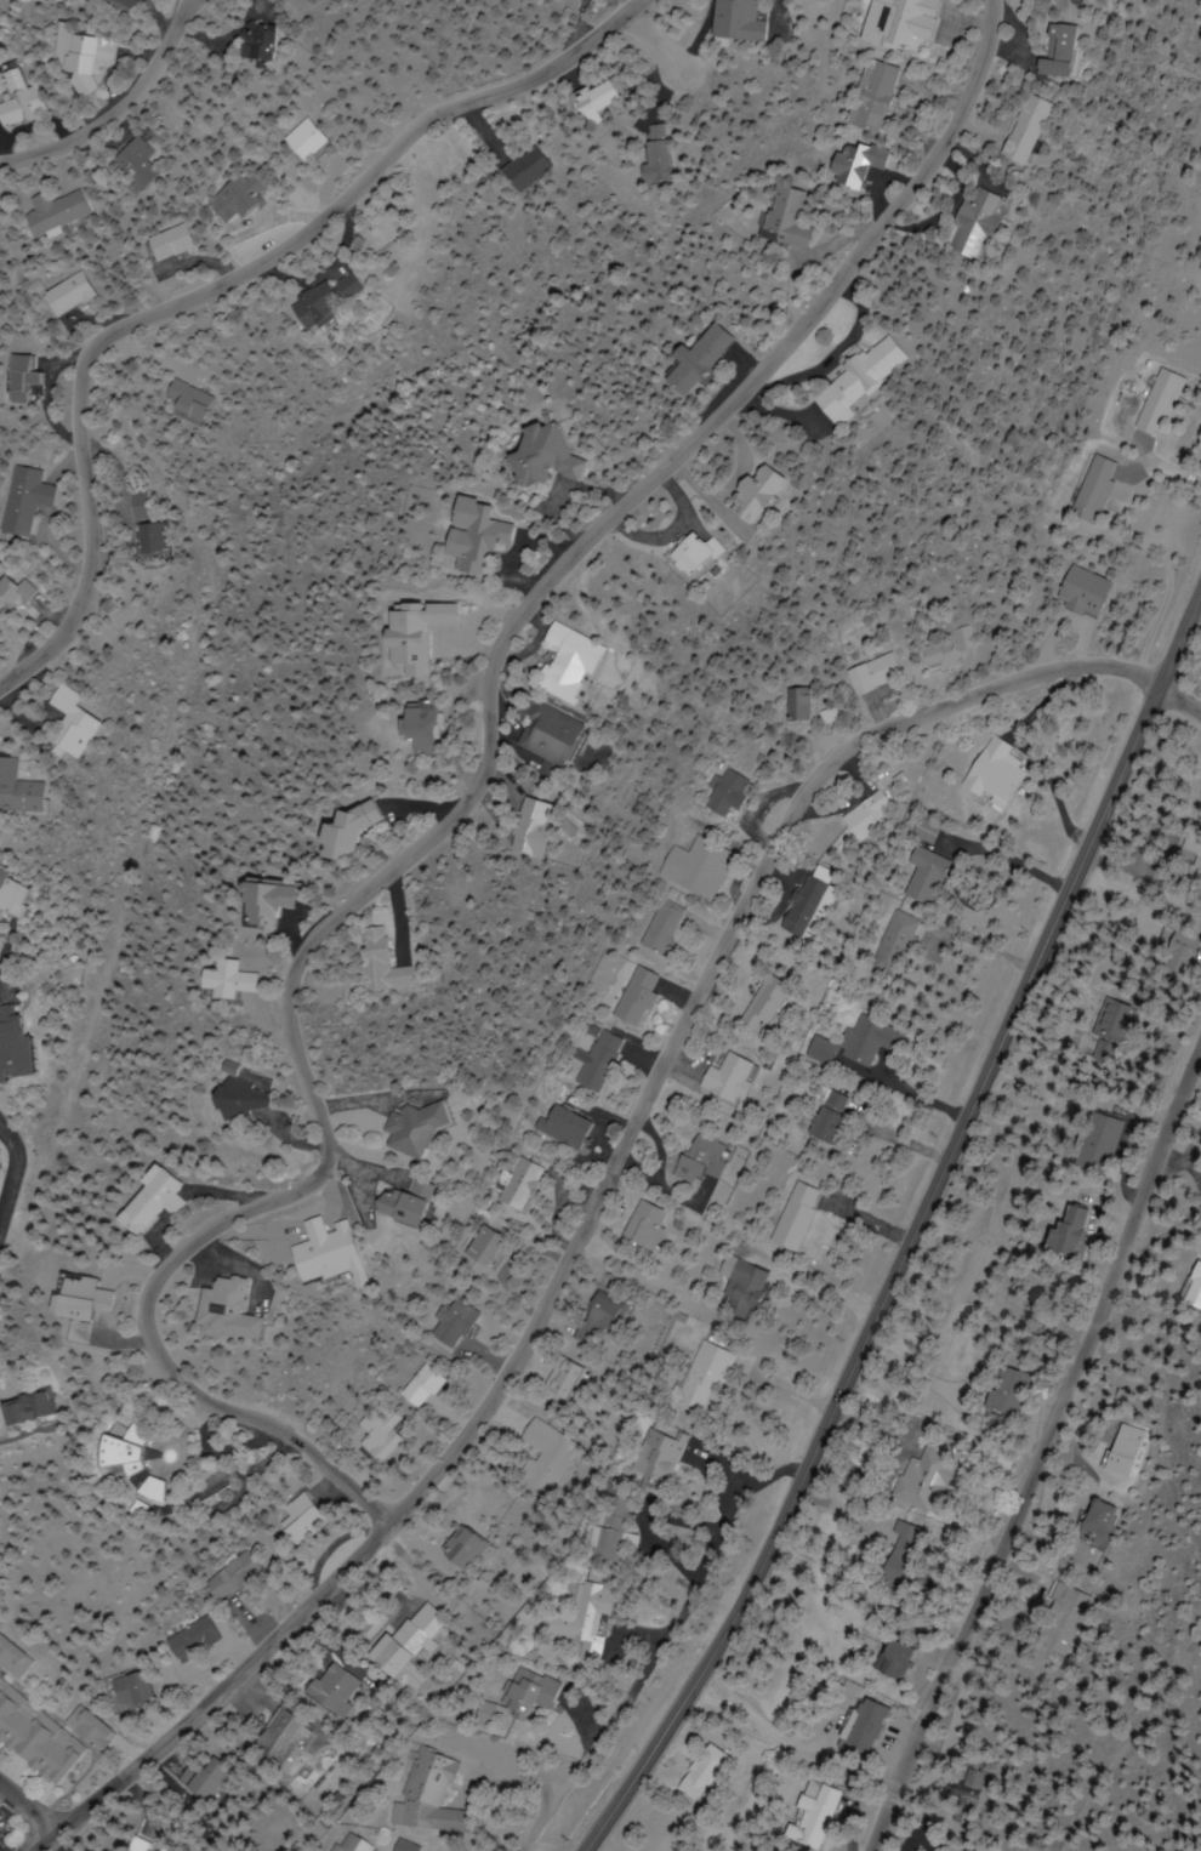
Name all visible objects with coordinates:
building: (118, 5)
building: (734, 21)
building: (897, 23)
road: (581, 25)
building: (247, 40)
building: (1054, 52)
building: (76, 55)
building: (870, 96)
building: (17, 99)
building: (590, 101)
road: (115, 106)
building: (1021, 130)
building: (297, 141)
building: (653, 155)
building: (124, 163)
building: (854, 164)
building: (519, 170)
building: (227, 195)
building: (44, 211)
building: (787, 218)
building: (972, 223)
building: (158, 243)
road: (220, 281)
building: (59, 294)
building: (315, 298)
road: (132, 352)
building: (693, 359)
building: (15, 376)
building: (848, 380)
building: (173, 400)
building: (1152, 403)
building: (540, 455)
building: (1083, 489)
building: (734, 495)
building: (17, 499)
building: (129, 505)
building: (471, 535)
building: (136, 539)
building: (681, 556)
building: (1070, 592)
building: (10, 594)
building: (404, 634)
building: (937, 649)
building: (559, 663)
building: (859, 674)
road: (1179, 701)
building: (785, 704)
building: (58, 724)
building: (409, 728)
building: (539, 739)
building: (984, 775)
building: (13, 792)
building: (716, 794)
road: (452, 815)
building: (854, 818)
building: (518, 827)
building: (337, 830)
building: (1193, 866)
building: (688, 867)
building: (915, 876)
building: (27, 888)
building: (254, 904)
building: (798, 904)
building: (653, 927)
building: (886, 944)
building: (1174, 953)
building: (365, 962)
building: (218, 980)
building: (627, 996)
building: (756, 1002)
building: (1104, 1030)
building: (848, 1043)
building: (32, 1046)
building: (590, 1061)
building: (721, 1080)
building: (238, 1095)
building: (818, 1116)
building: (554, 1127)
building: (405, 1128)
building: (1088, 1146)
building: (7, 1155)
building: (691, 1161)
road: (24, 1172)
building: (510, 1185)
building: (412, 1189)
building: (0, 1194)
building: (149, 1202)
road: (587, 1204)
building: (387, 1208)
building: (787, 1218)
building: (637, 1228)
road: (909, 1228)
building: (1057, 1234)
building: (473, 1247)
building: (313, 1255)
building: (0, 1265)
building: (735, 1288)
building: (1191, 1289)
building: (70, 1298)
building: (212, 1312)
building: (593, 1321)
building: (445, 1323)
building: (559, 1380)
building: (412, 1388)
building: (1003, 1391)
building: (25, 1408)
building: (370, 1434)
road: (1042, 1446)
building: (1122, 1450)
building: (539, 1456)
building: (648, 1458)
building: (112, 1466)
building: (922, 1480)
building: (1098, 1520)
building: (292, 1522)
building: (598, 1544)
building: (455, 1550)
building: (900, 1550)
building: (223, 1578)
building: (1070, 1619)
building: (573, 1621)
building: (194, 1638)
building: (399, 1647)
building: (890, 1659)
building: (329, 1691)
building: (141, 1692)
building: (514, 1696)
building: (863, 1726)
building: (39, 1735)
building: (279, 1739)
building: (695, 1772)
building: (212, 1779)
building: (420, 1795)
building: (978, 1795)
road: (27, 1805)
building: (813, 1816)
building: (343, 1844)
building: (397, 1846)
building: (969, 1850)

